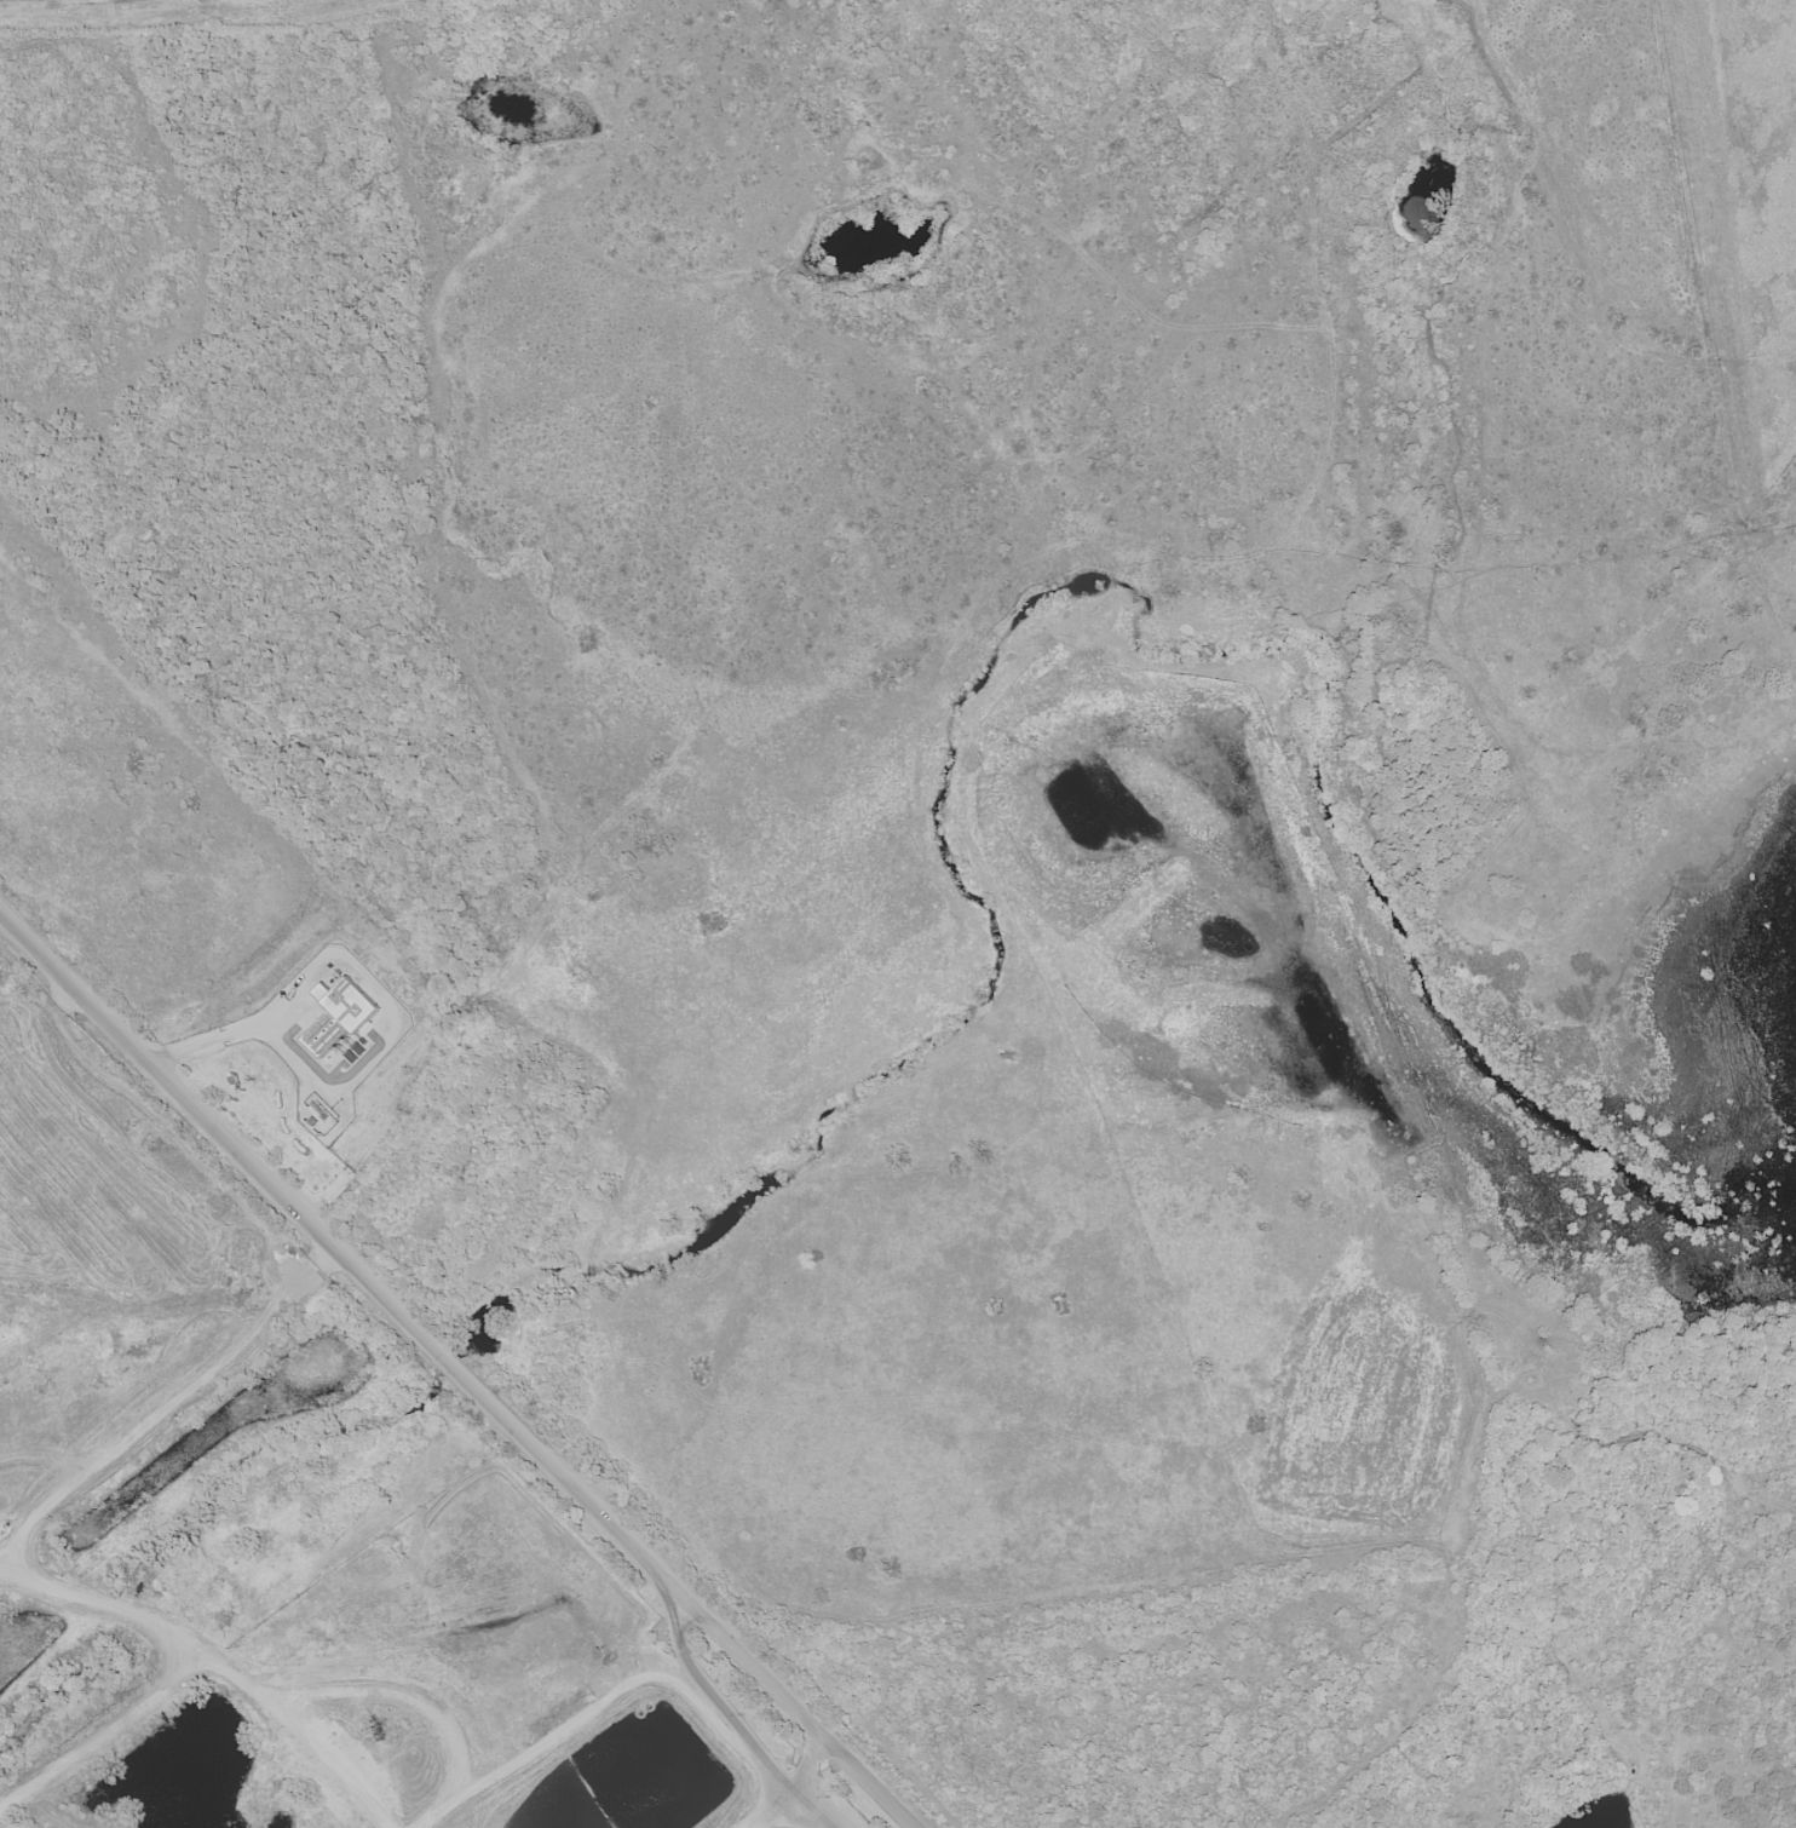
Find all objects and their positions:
building: (342, 1002)
road: (247, 1031)
building: (317, 1034)
road: (413, 1328)
landfill: (289, 1539)
road: (609, 1695)
road: (807, 1769)
road: (869, 1784)
road: (772, 1812)
road: (805, 1812)

